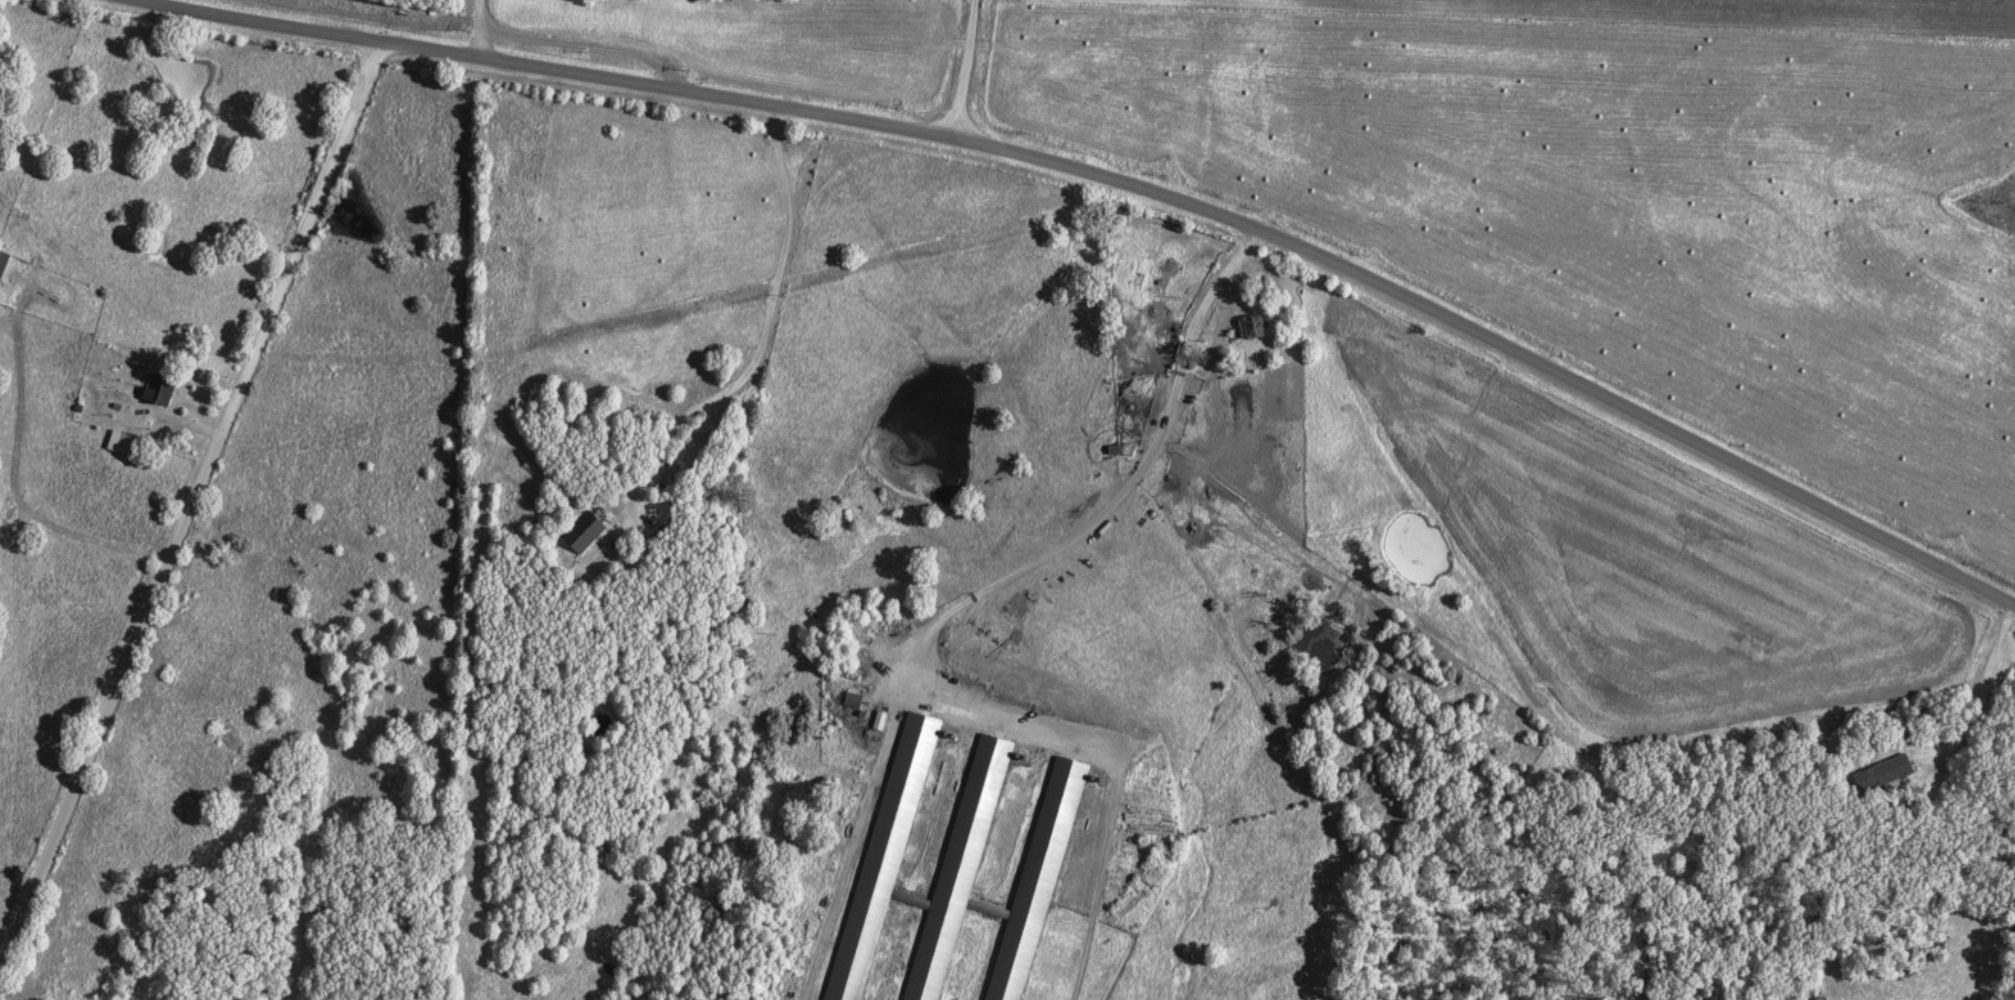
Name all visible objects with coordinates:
road: (480, 29)
road: (967, 69)
road: (1116, 180)
building: (4, 264)
road: (1228, 292)
building: (1248, 327)
road: (730, 389)
building: (162, 391)
building: (126, 445)
building: (1111, 454)
road: (195, 512)
building: (583, 536)
road: (1026, 566)
road: (1982, 688)
building: (851, 700)
building: (879, 720)
building: (1879, 775)
building: (951, 867)

